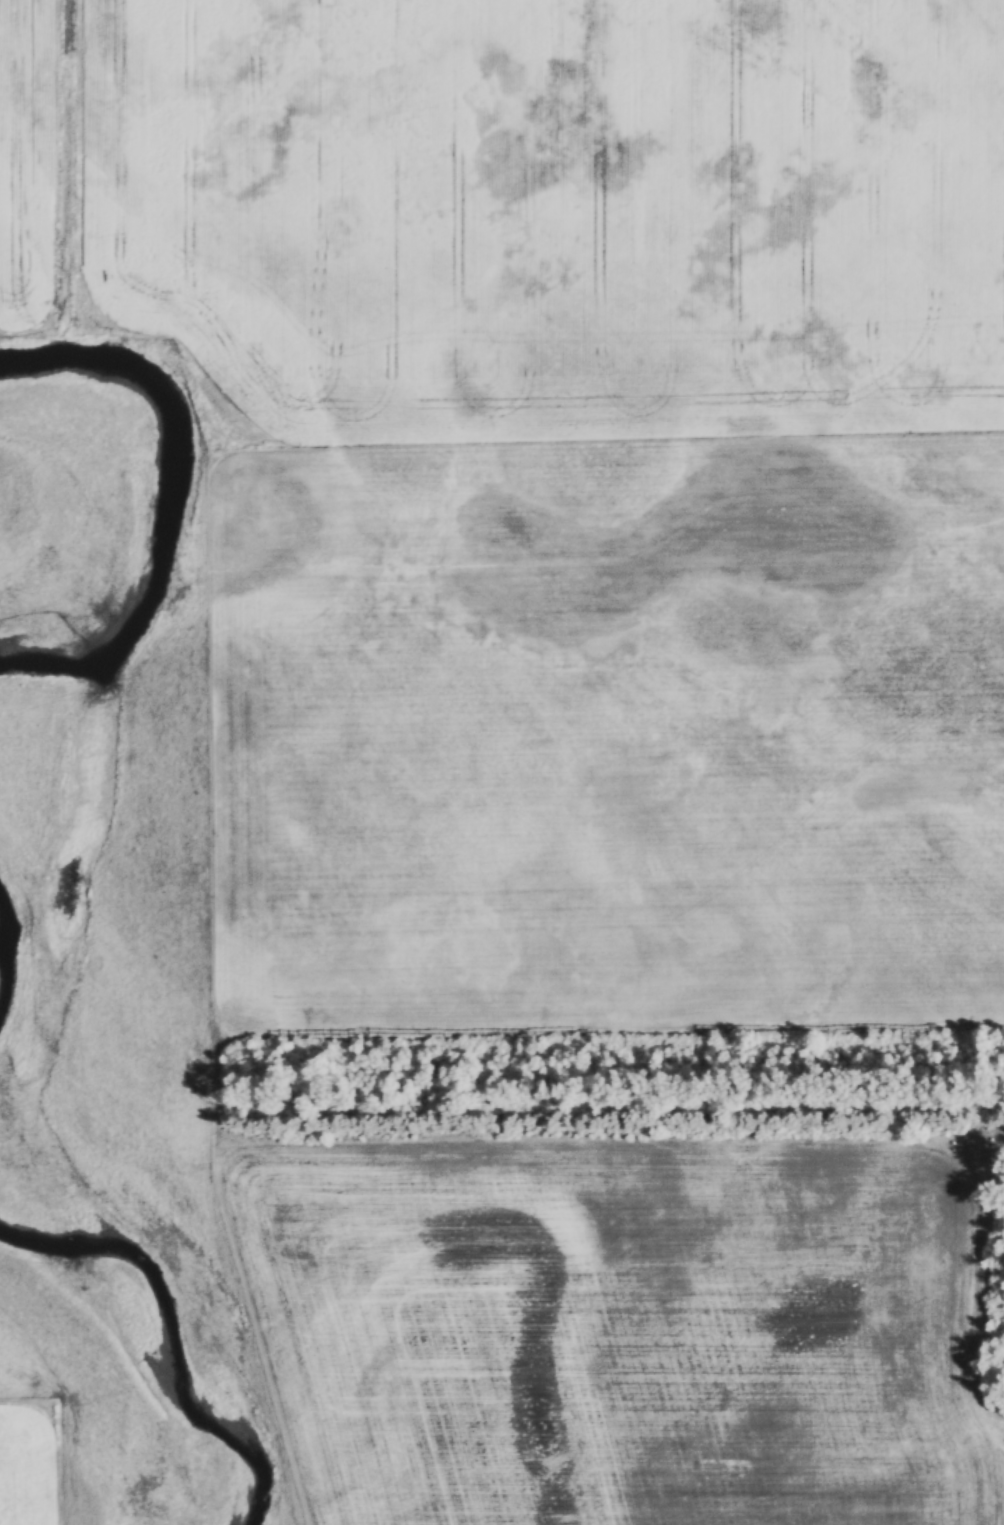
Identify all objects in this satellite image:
river: (156, 497)
river: (23, 957)
river: (176, 1338)

